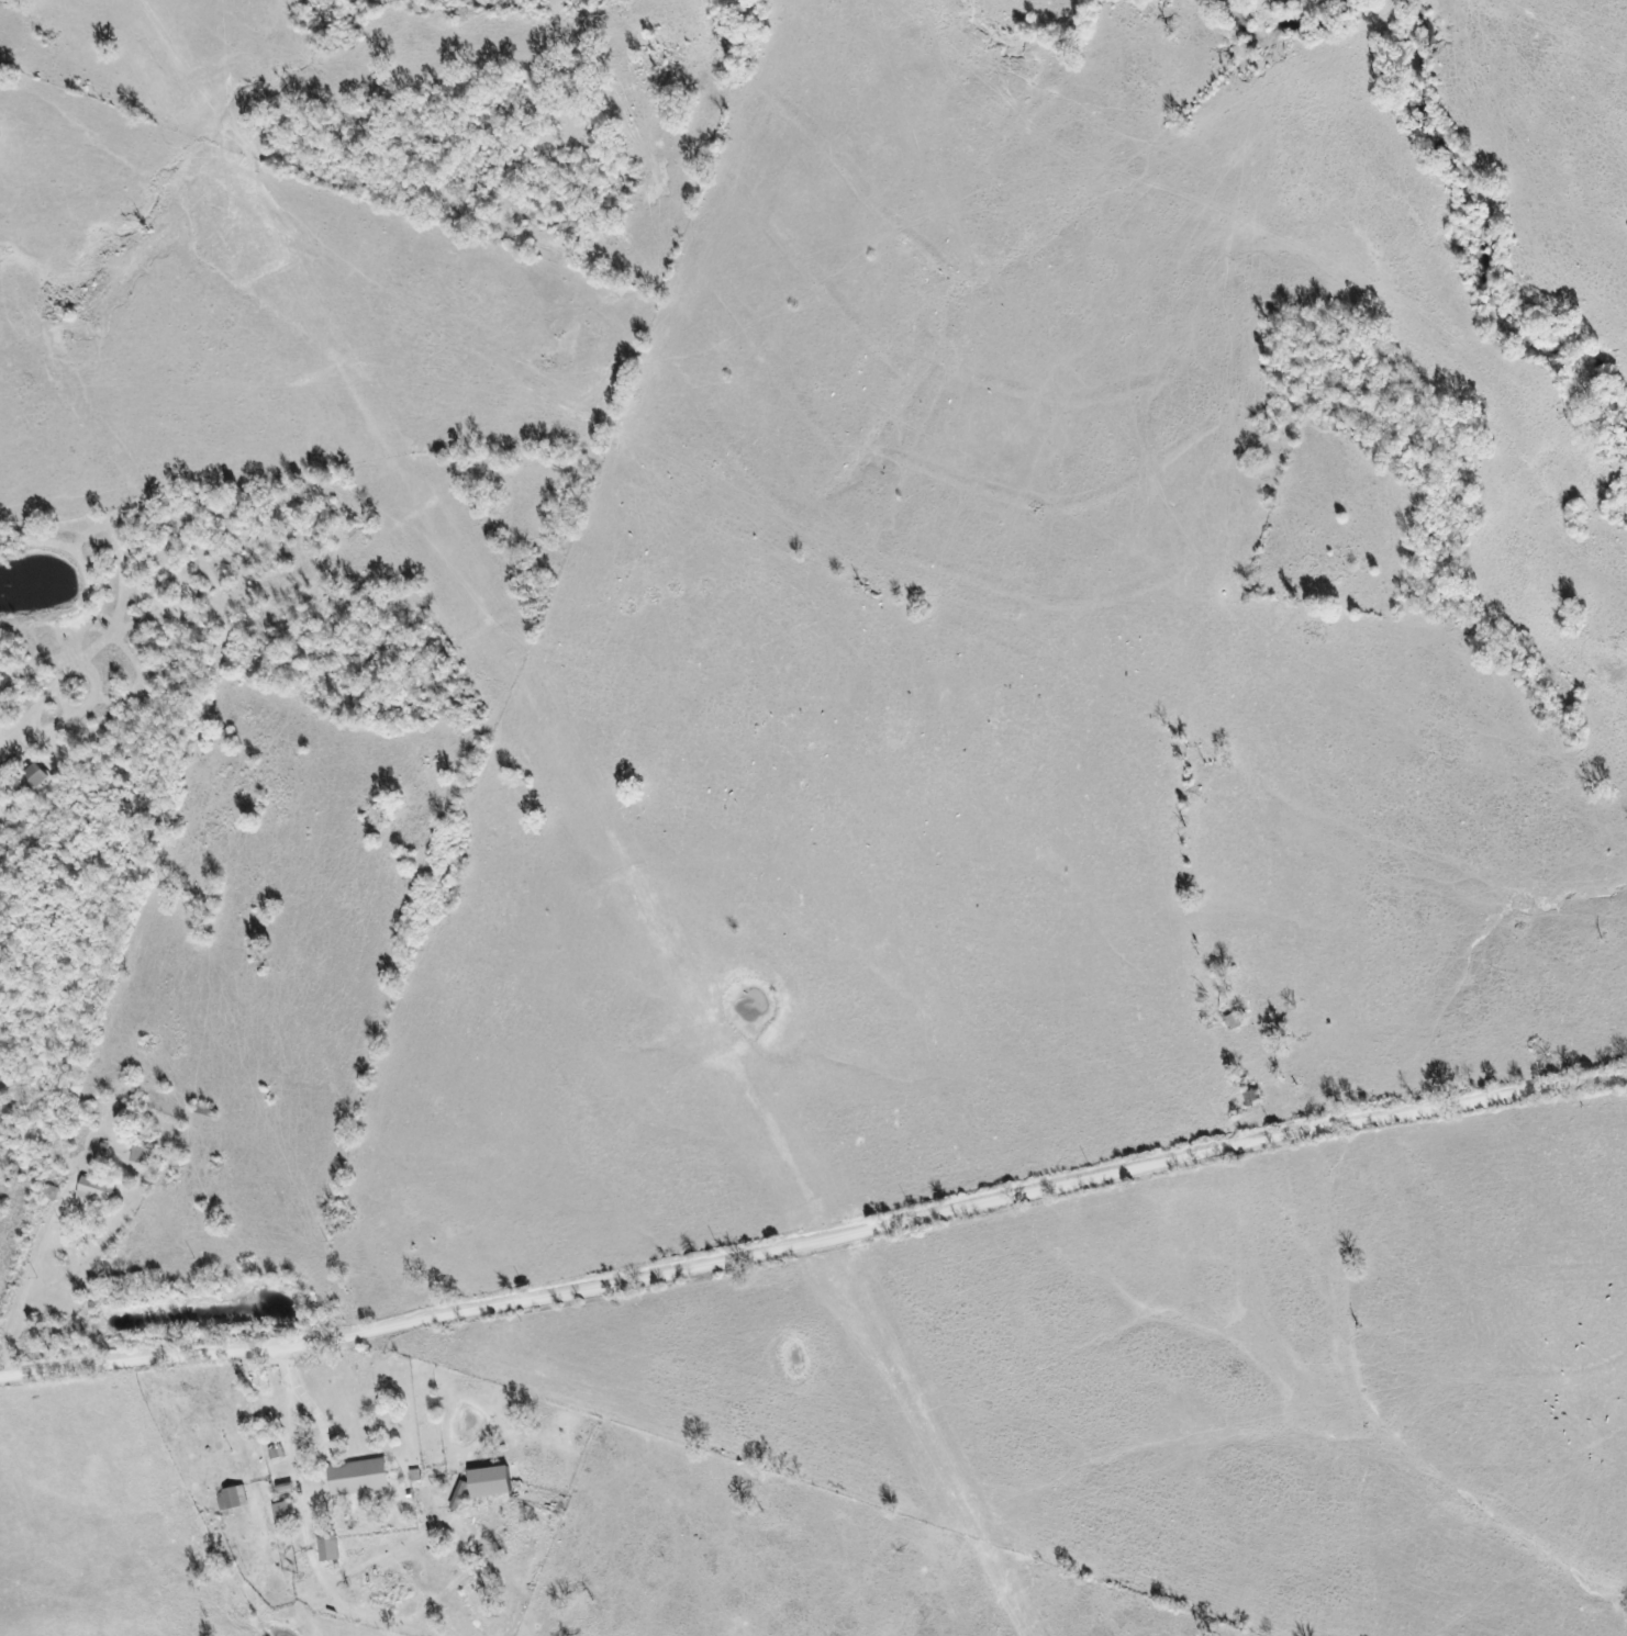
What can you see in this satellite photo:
road: (1147, 461)
building: (29, 783)
building: (97, 1190)
road: (816, 1244)
building: (416, 1476)
building: (360, 1478)
building: (490, 1482)
building: (234, 1499)
building: (283, 1513)
building: (330, 1549)

